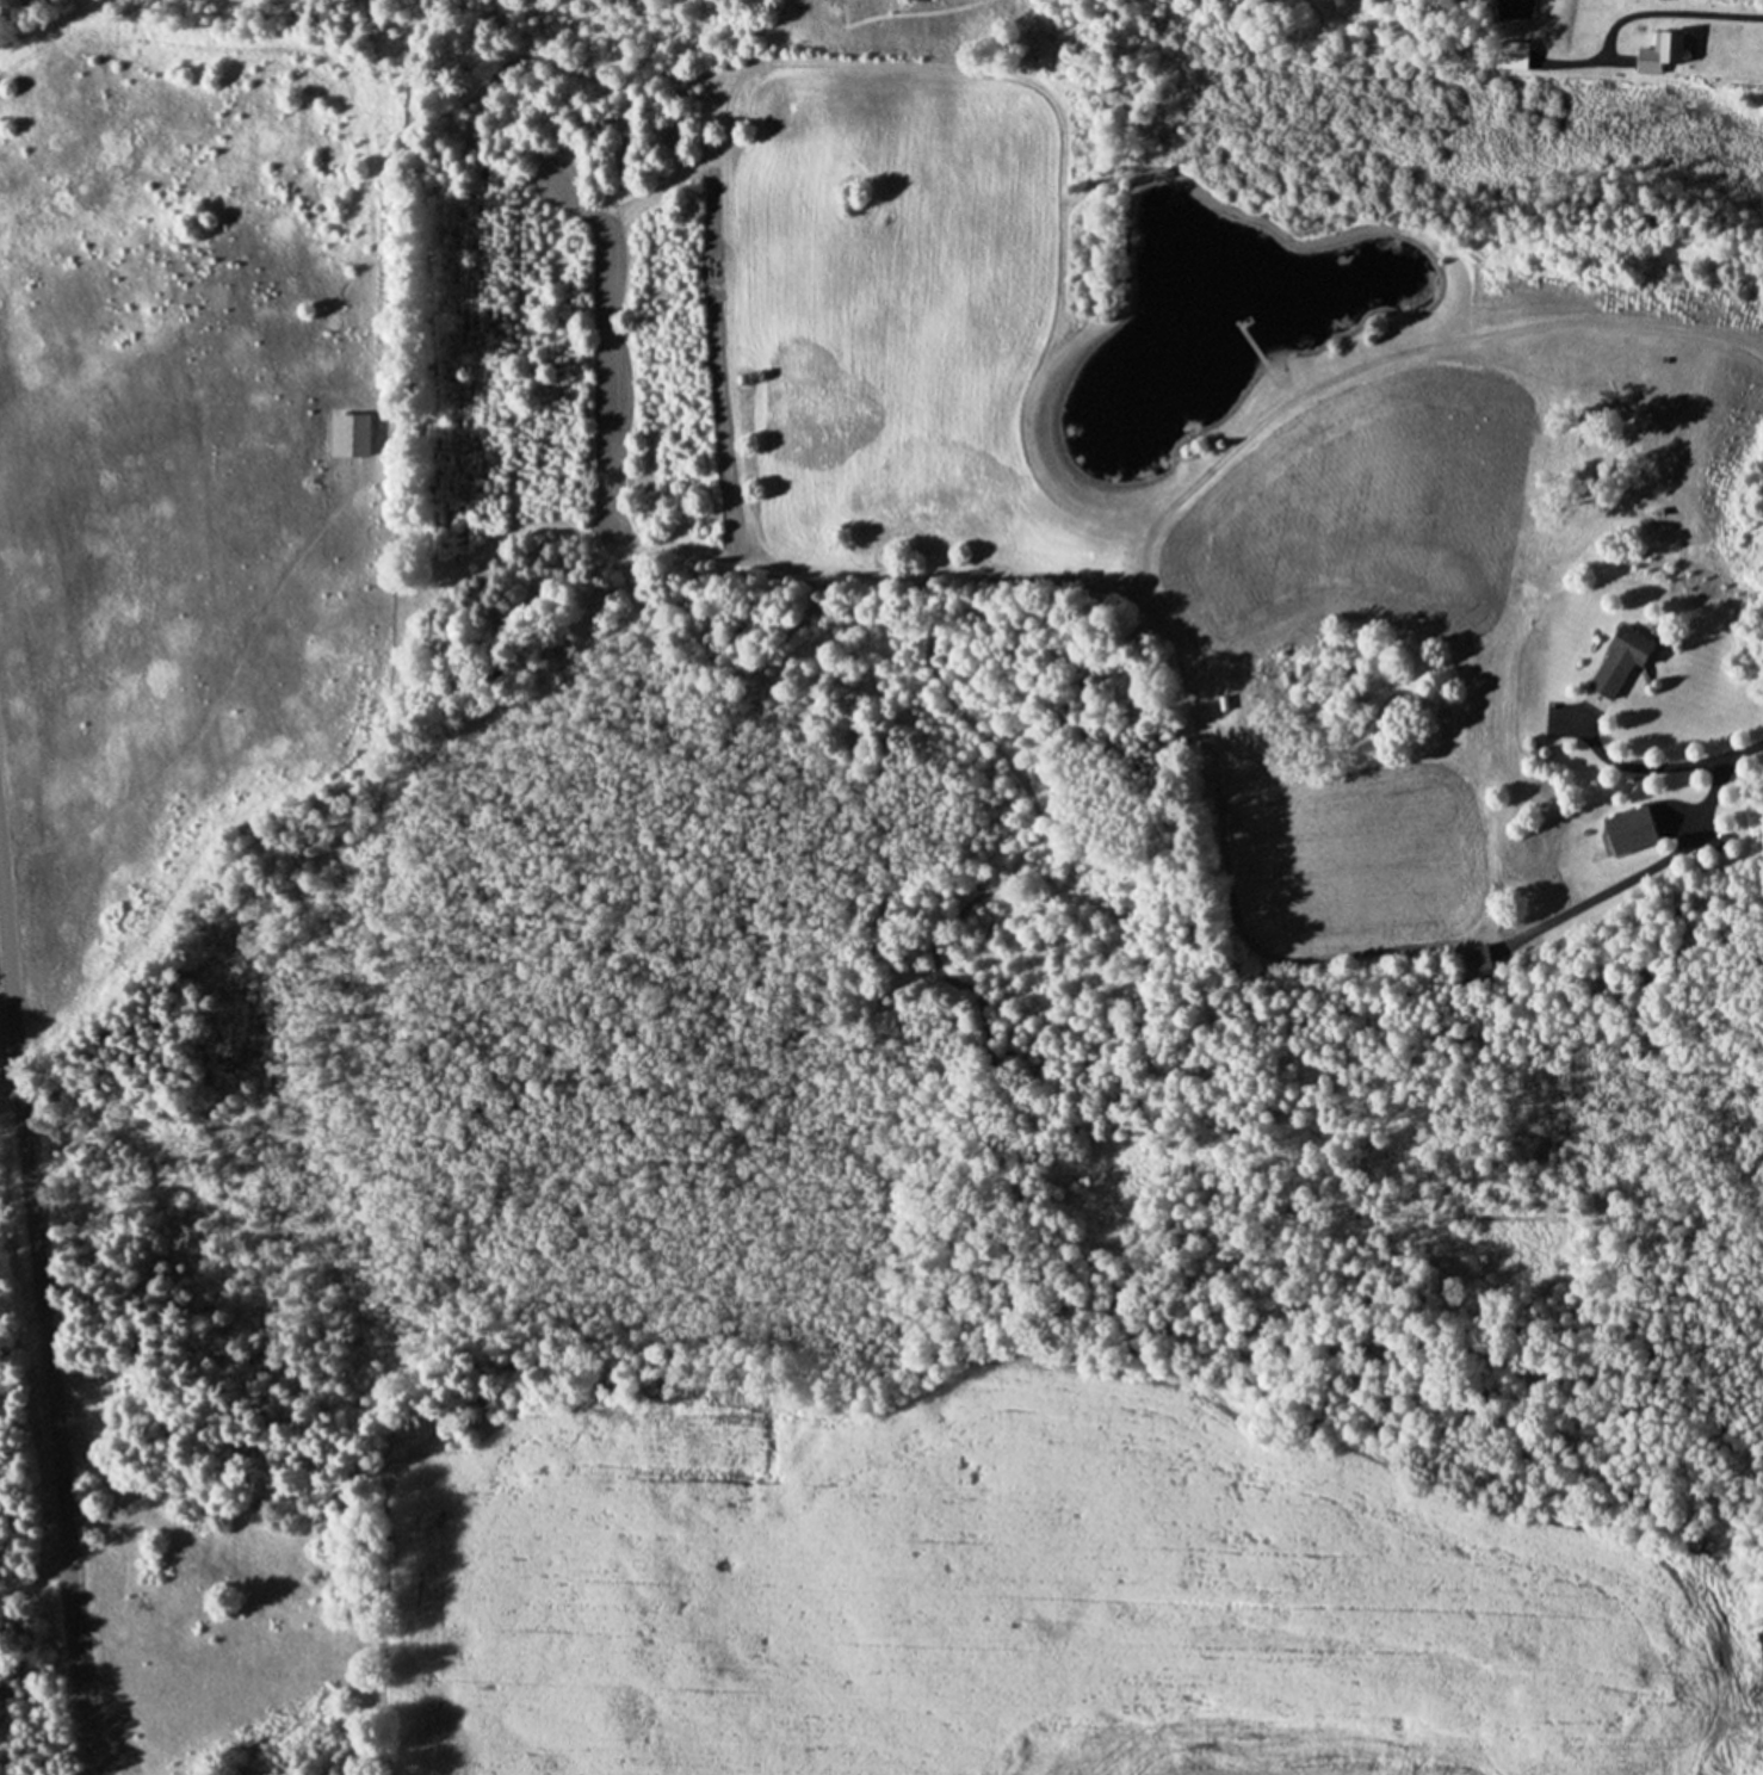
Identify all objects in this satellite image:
road: (1702, 13)
building: (1511, 54)
building: (1651, 54)
building: (346, 433)
building: (1614, 663)
road: (1664, 767)
building: (1626, 830)
road: (48, 1313)

